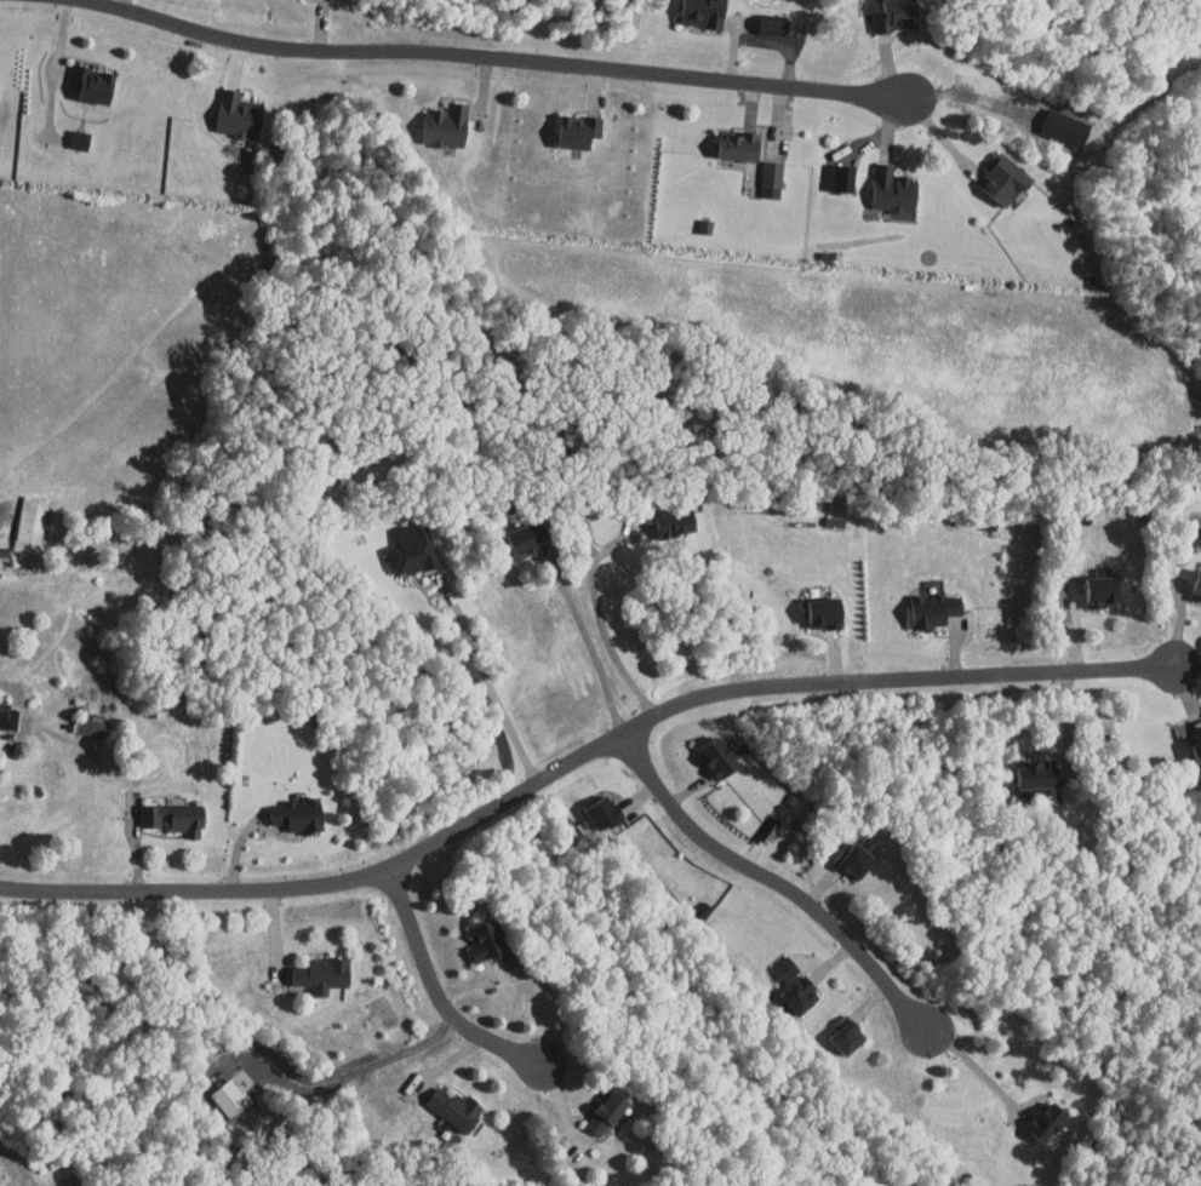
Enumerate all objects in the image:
building: (692, 8)
building: (885, 11)
building: (764, 16)
road: (492, 53)
road: (58, 56)
building: (81, 75)
road: (967, 96)
building: (227, 107)
building: (434, 118)
building: (1053, 121)
building: (566, 122)
building: (65, 132)
building: (728, 138)
building: (828, 170)
building: (759, 171)
building: (993, 172)
building: (881, 182)
building: (693, 218)
building: (16, 515)
building: (664, 516)
building: (515, 529)
building: (401, 545)
building: (1190, 579)
building: (1096, 584)
building: (921, 602)
building: (813, 603)
road: (599, 629)
road: (588, 649)
road: (1, 677)
road: (490, 681)
building: (2, 709)
building: (1189, 735)
building: (708, 750)
road: (581, 756)
building: (1025, 767)
building: (1037, 787)
building: (591, 804)
building: (285, 808)
building: (162, 810)
building: (848, 852)
road: (783, 887)
building: (475, 934)
building: (772, 961)
building: (310, 967)
building: (788, 987)
road: (428, 995)
building: (833, 1027)
road: (339, 1065)
road: (997, 1081)
building: (215, 1092)
building: (444, 1101)
building: (594, 1106)
building: (1036, 1116)

